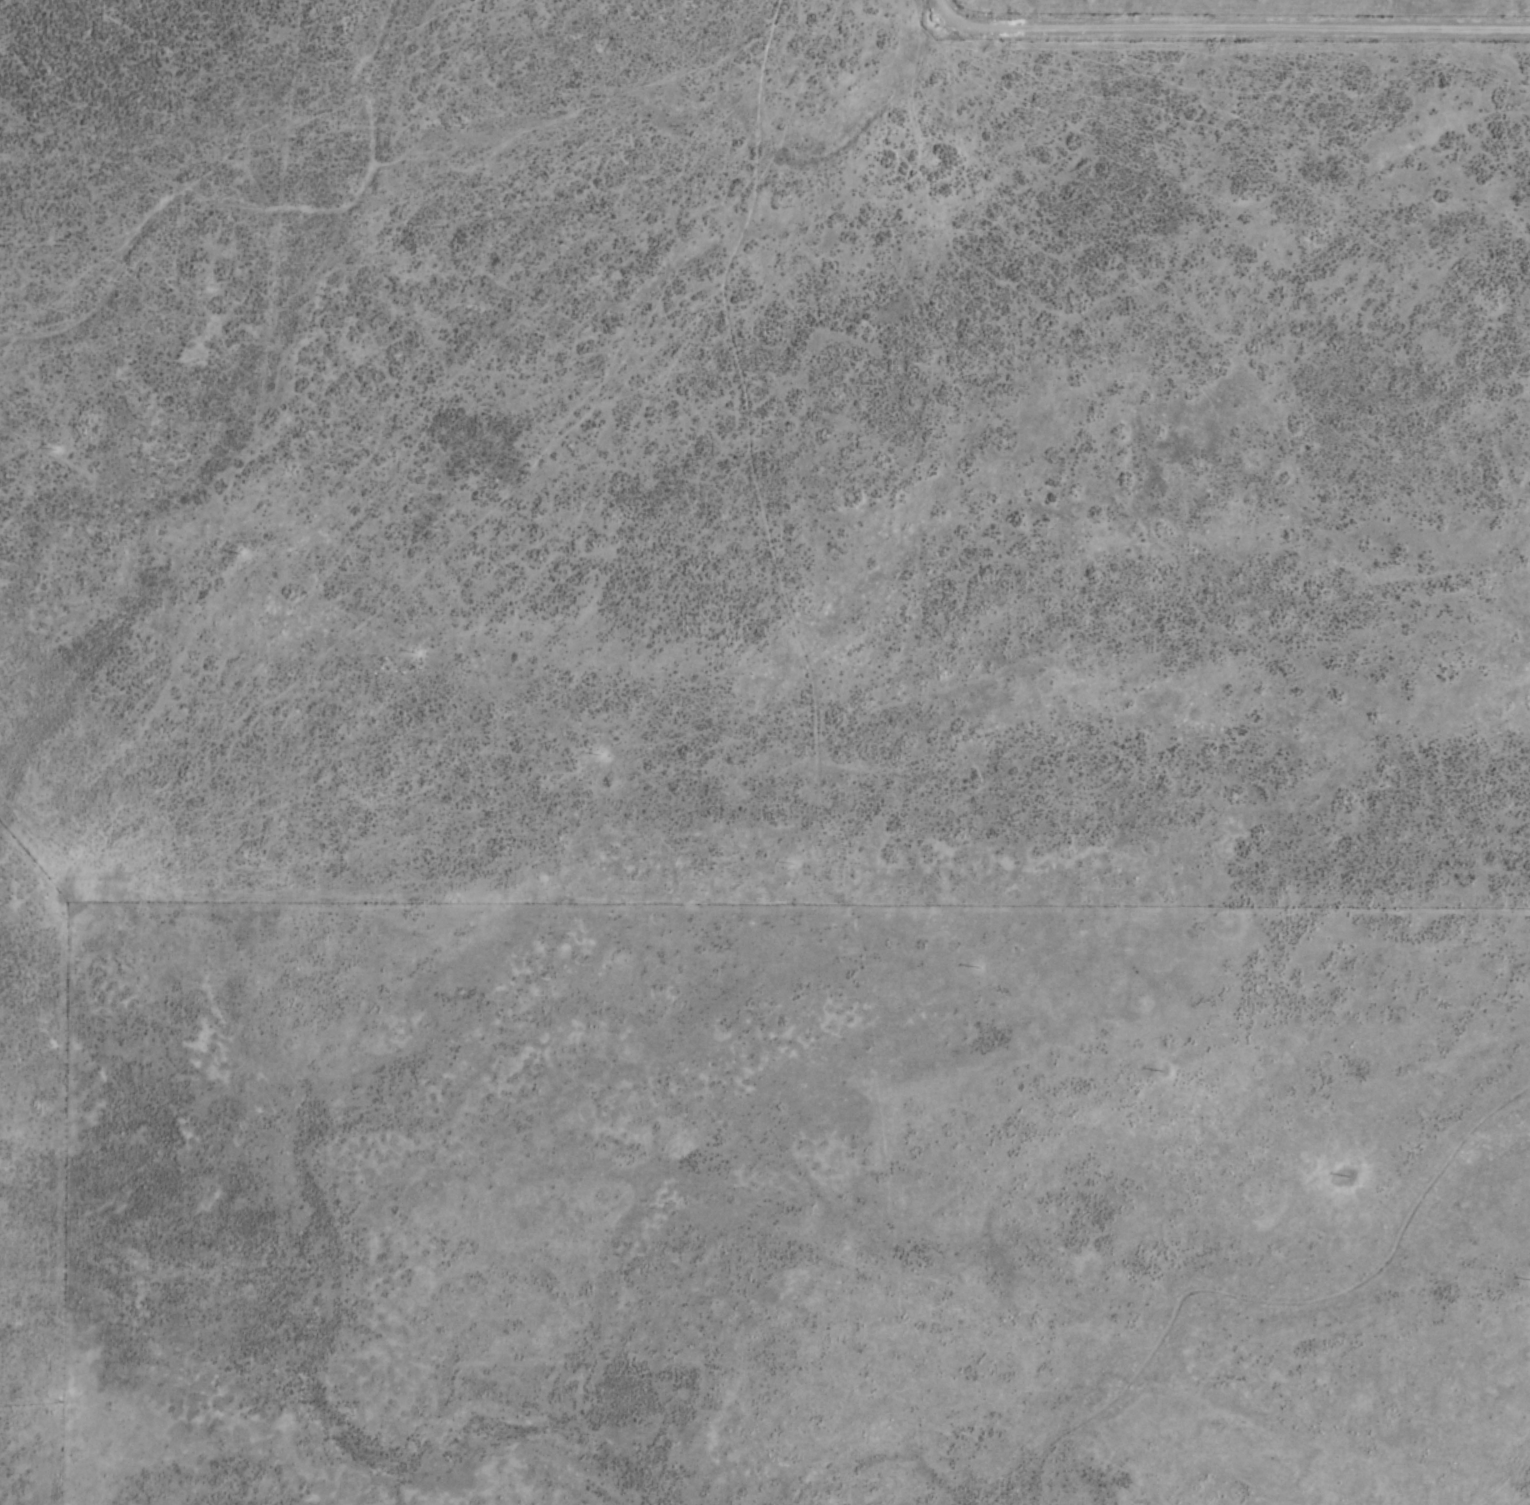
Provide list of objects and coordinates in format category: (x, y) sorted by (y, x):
road: (1226, 25)
crop: (765, 752)

